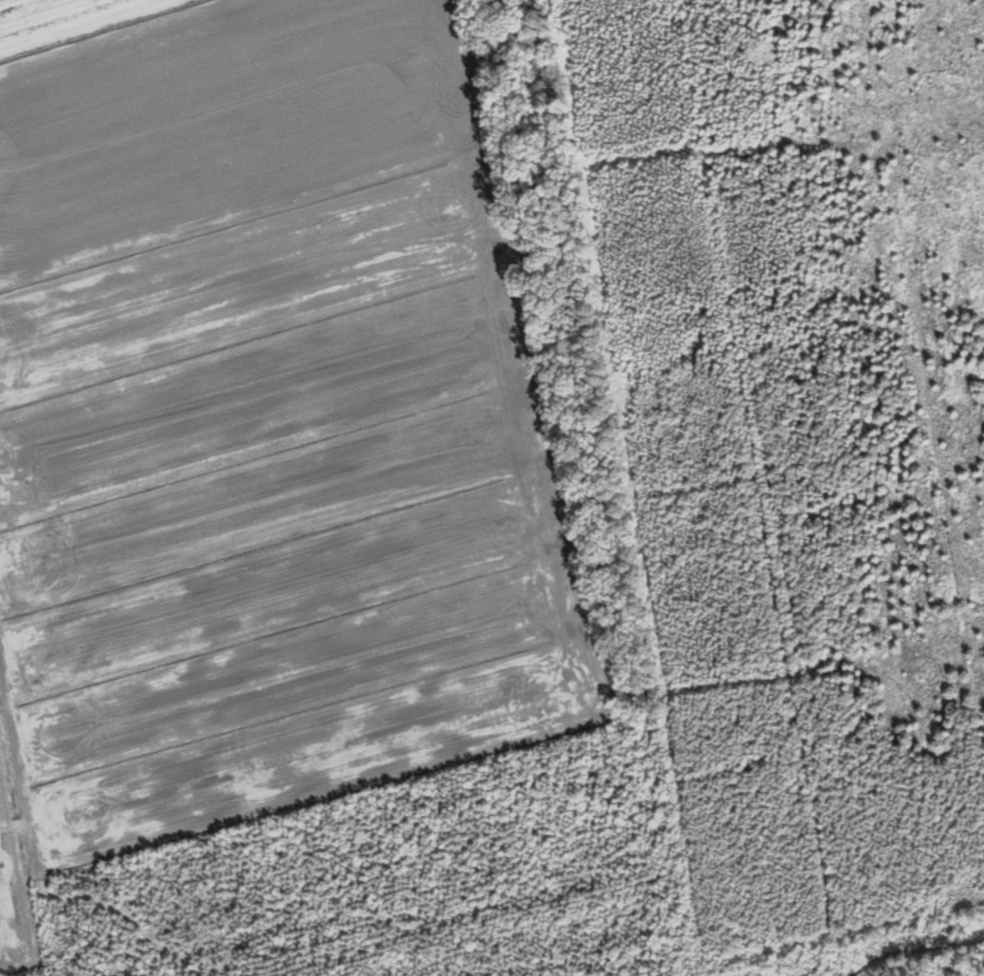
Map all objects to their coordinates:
road: (36, 773)

